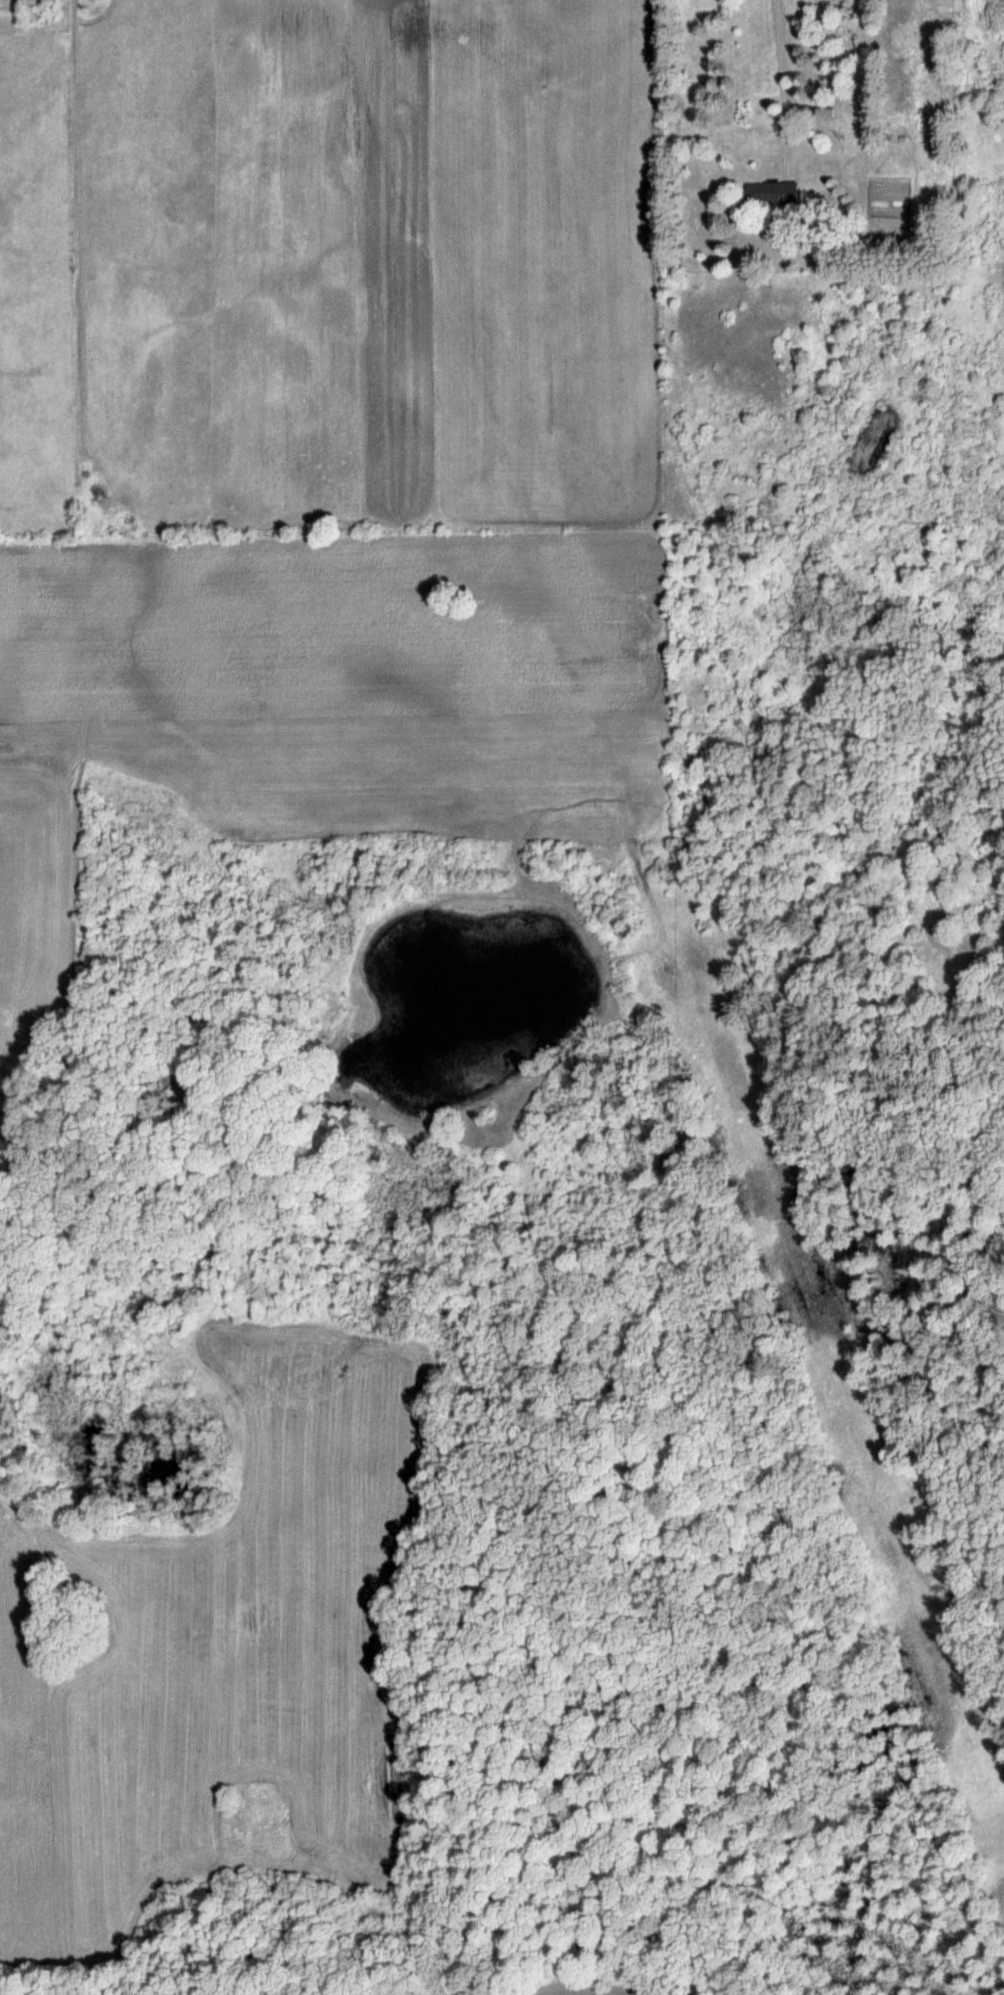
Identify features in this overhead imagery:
road: (783, 89)
building: (773, 194)

